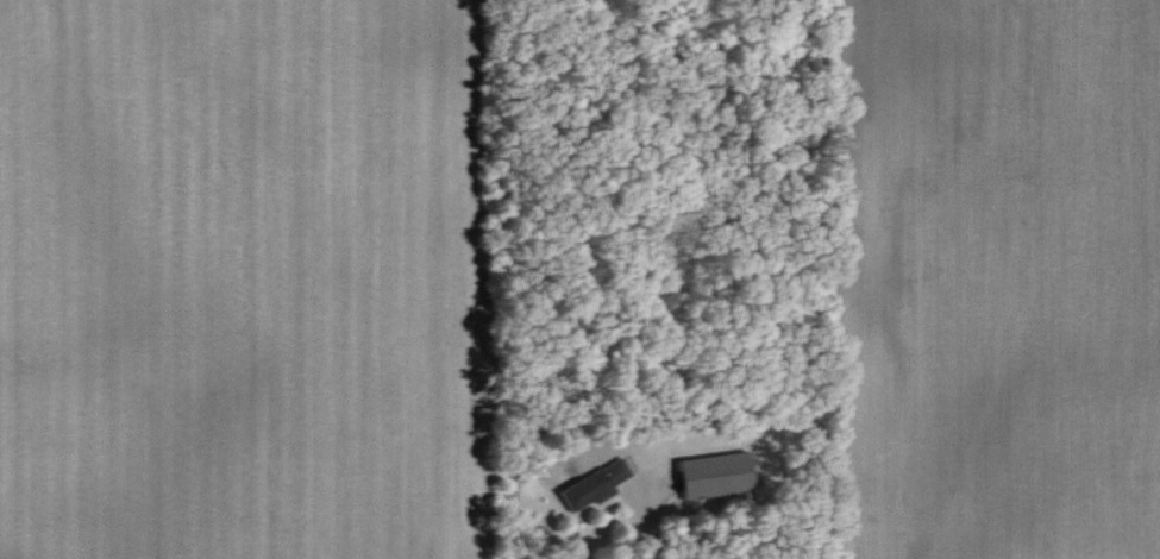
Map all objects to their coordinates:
building: (717, 477)
building: (594, 484)
road: (644, 508)

